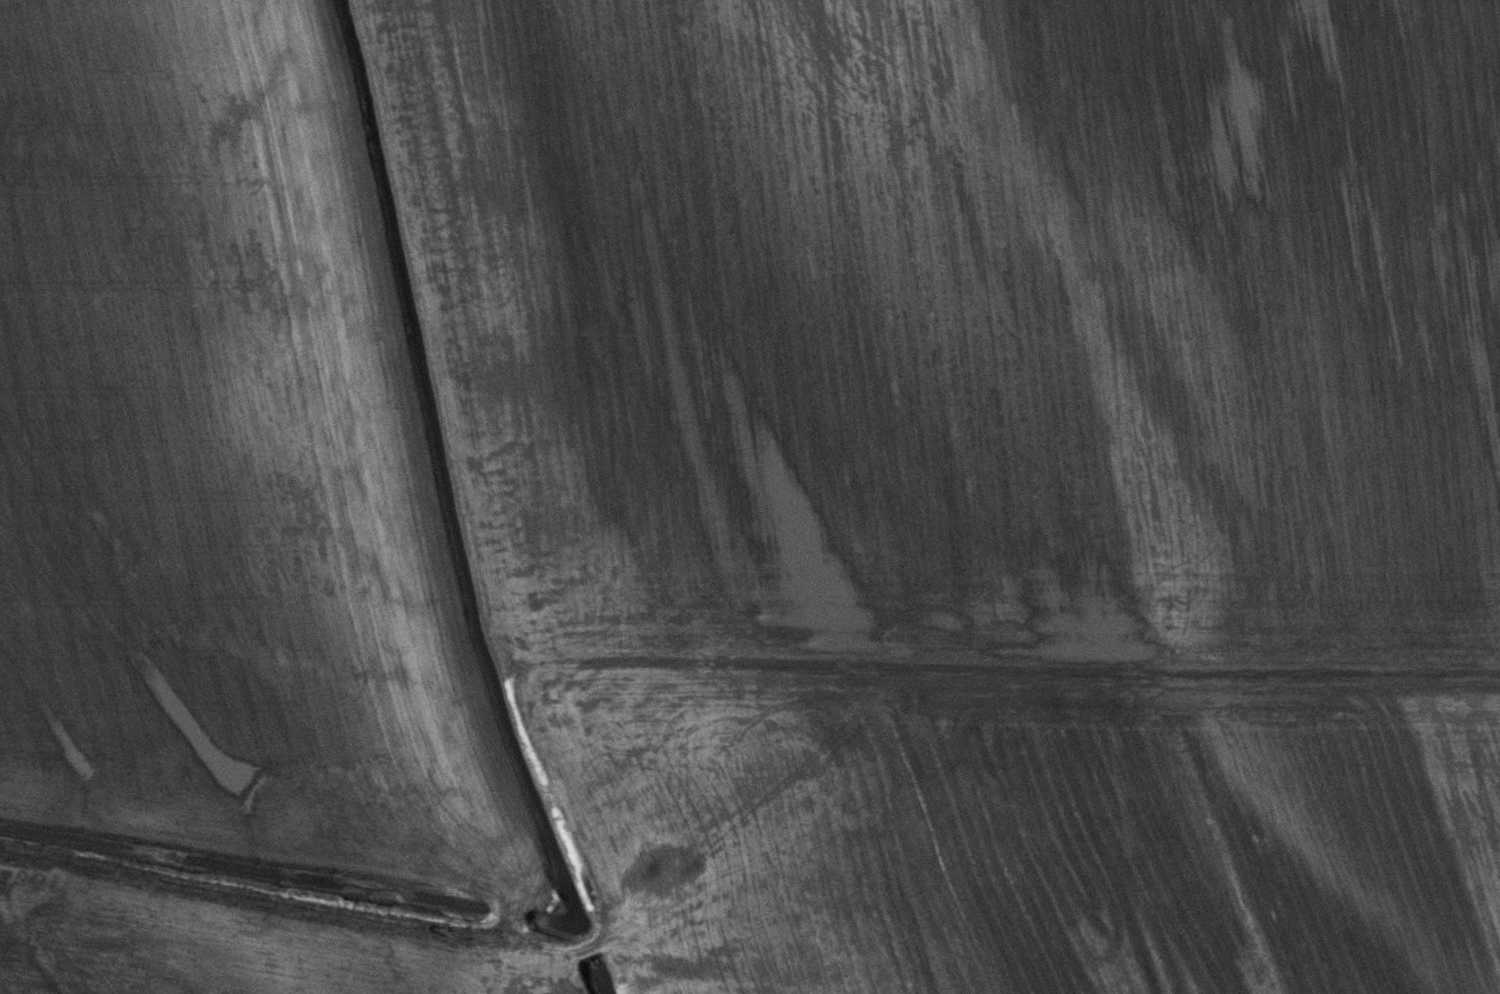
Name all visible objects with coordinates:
road: (232, 812)

